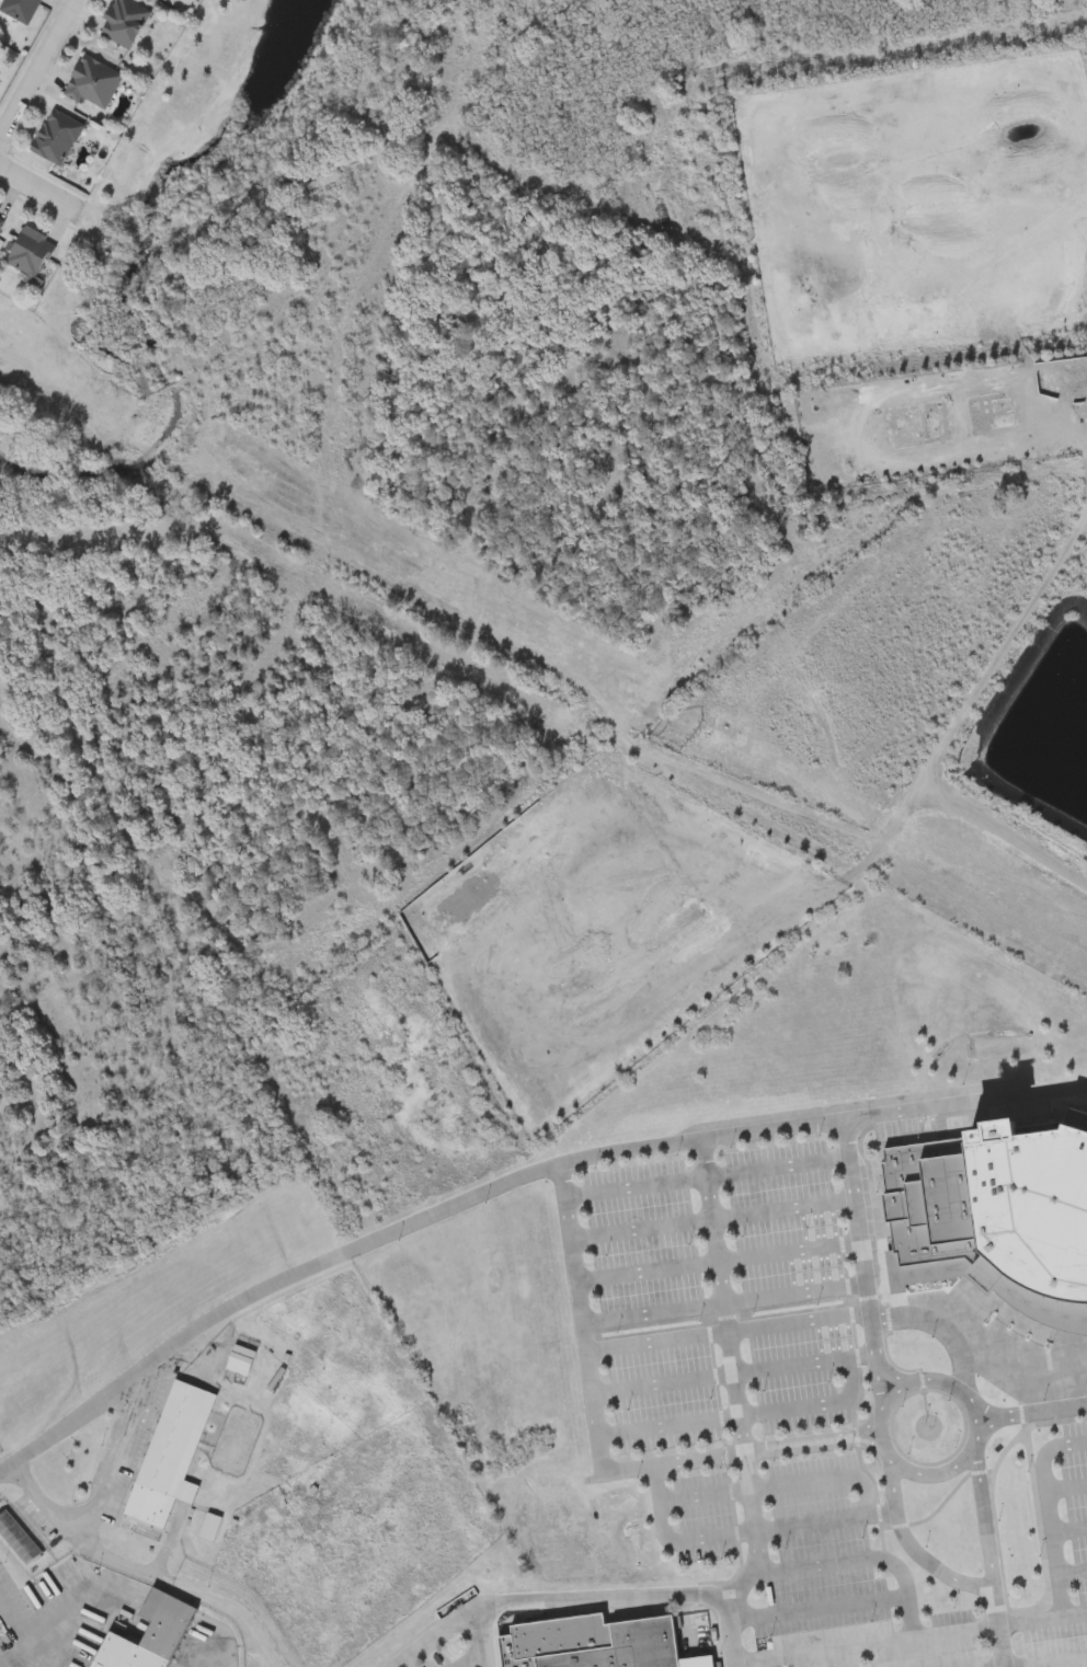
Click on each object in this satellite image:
building: (19, 10)
building: (122, 23)
road: (37, 68)
building: (91, 83)
building: (54, 137)
road: (38, 186)
building: (0, 220)
building: (27, 253)
road: (1066, 423)
building: (915, 427)
road: (956, 724)
road: (891, 1111)
road: (699, 1164)
road: (703, 1174)
road: (710, 1220)
road: (859, 1235)
road: (716, 1262)
road: (722, 1308)
road: (980, 1331)
road: (725, 1333)
building: (239, 1361)
road: (889, 1370)
road: (732, 1375)
building: (667, 1377)
road: (879, 1381)
road: (1053, 1383)
road: (1031, 1414)
road: (744, 1417)
road: (973, 1447)
building: (170, 1455)
road: (598, 1455)
road: (778, 1486)
road: (1067, 1490)
road: (104, 1495)
road: (1050, 1515)
road: (985, 1517)
road: (1069, 1531)
road: (745, 1534)
building: (18, 1539)
road: (914, 1550)
road: (107, 1559)
road: (860, 1560)
road: (1072, 1573)
building: (1060, 1607)
road: (816, 1613)
road: (1043, 1622)
road: (1000, 1630)
road: (726, 1631)
road: (483, 1634)
building: (147, 1635)
building: (594, 1643)
road: (866, 1645)
road: (473, 1658)
road: (1050, 1662)

